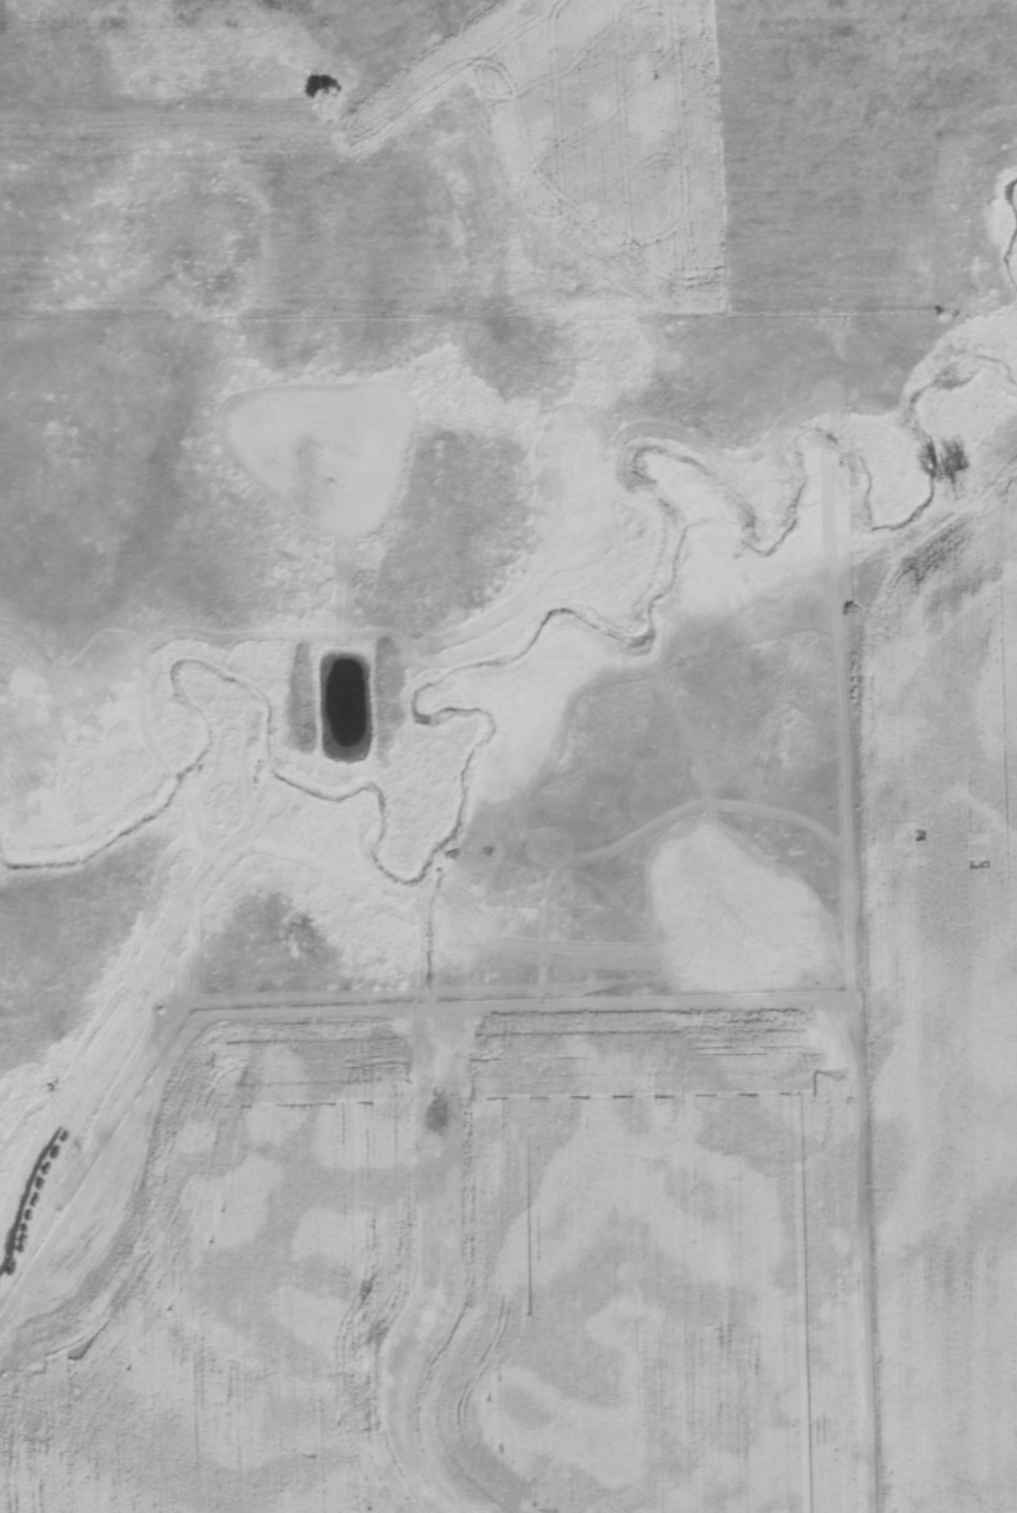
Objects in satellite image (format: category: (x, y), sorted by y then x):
building: (831, 1344)

